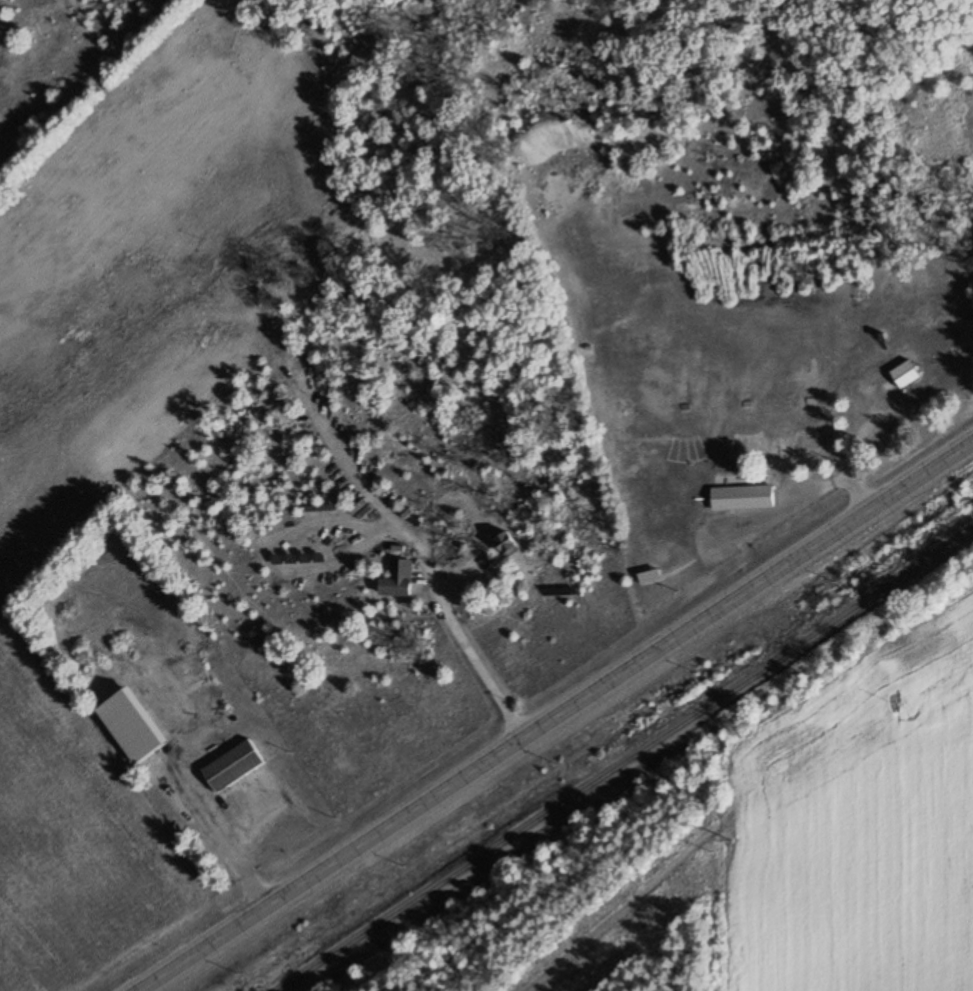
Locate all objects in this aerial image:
building: (905, 374)
building: (742, 498)
building: (506, 544)
building: (649, 577)
building: (397, 579)
road: (555, 716)
building: (133, 724)
railway: (625, 762)
building: (233, 765)

